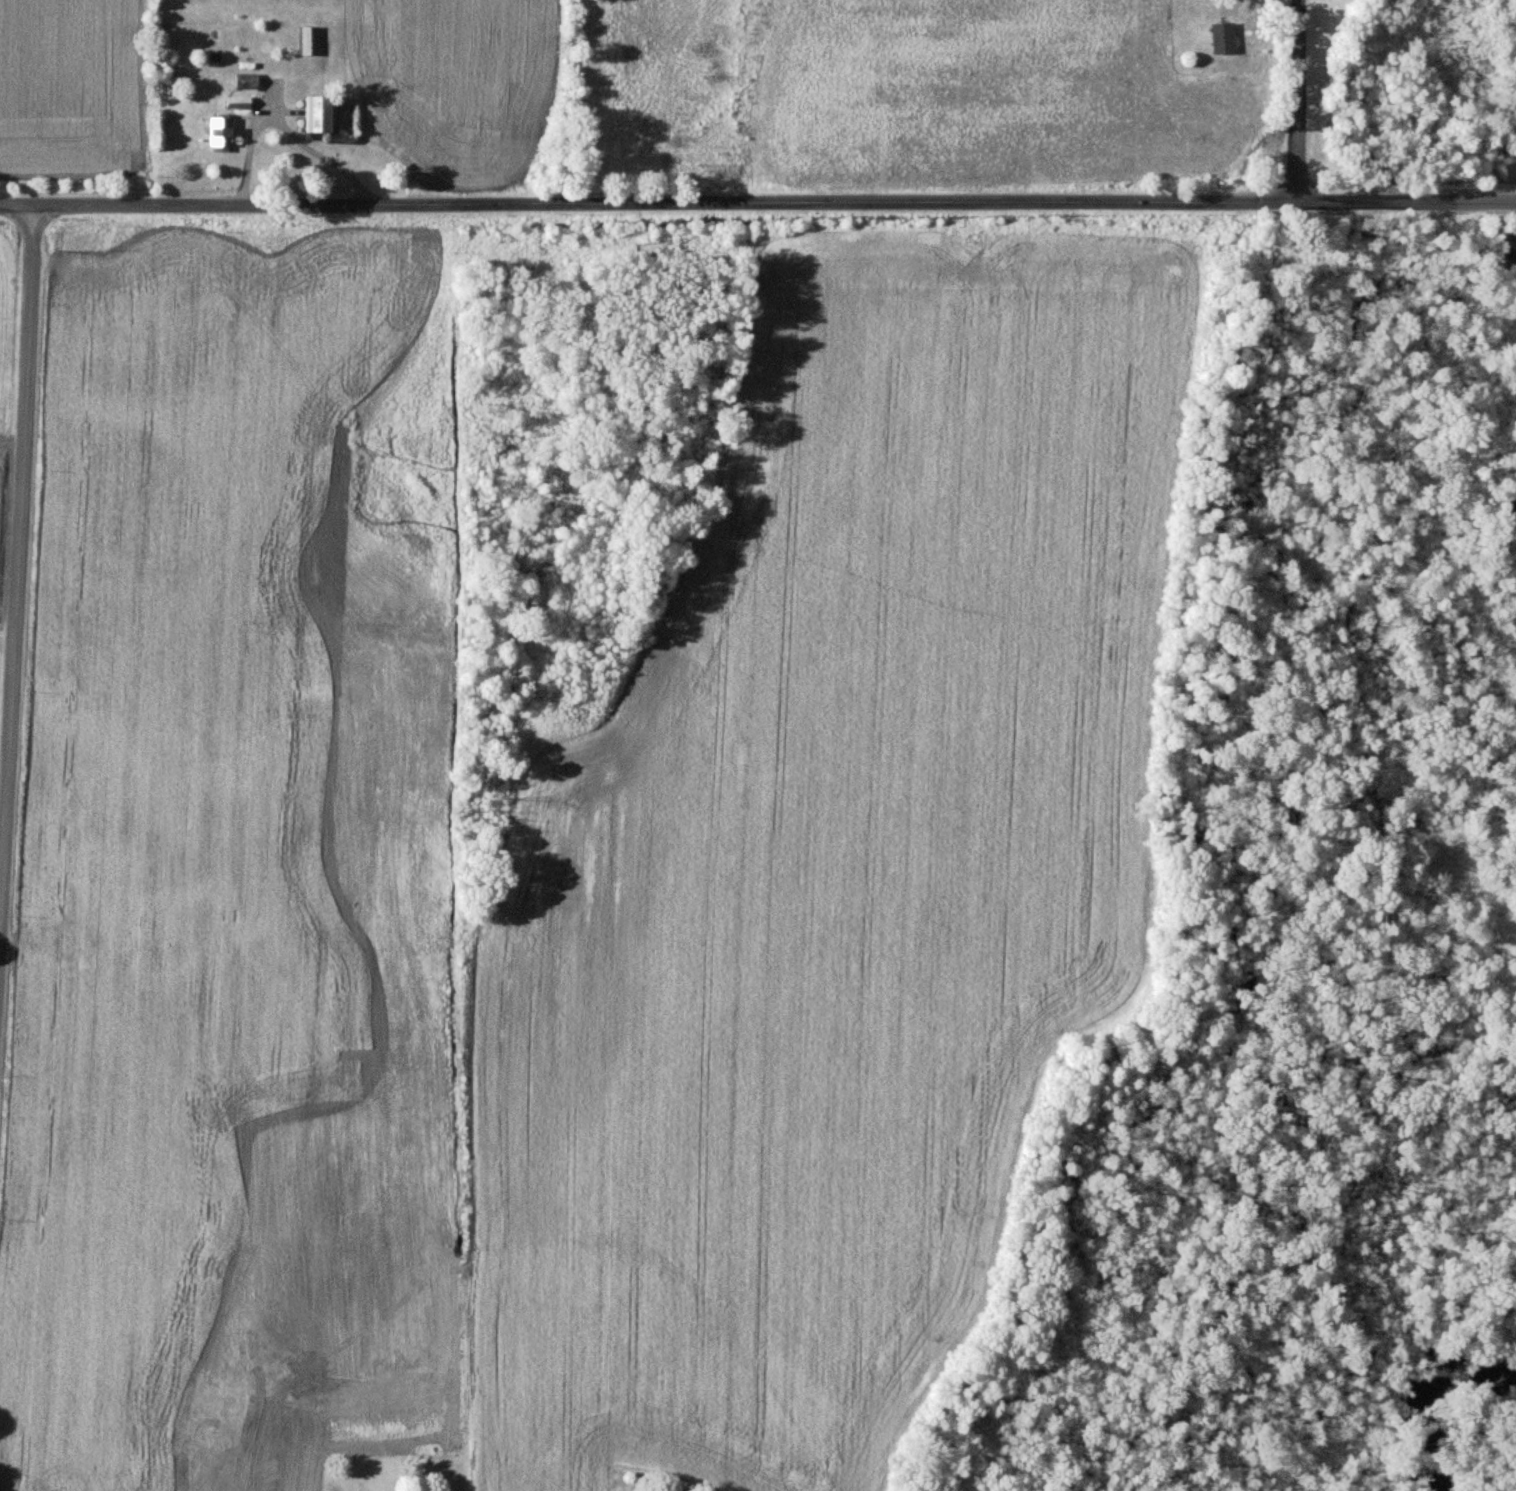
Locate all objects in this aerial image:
building: (1221, 38)
building: (308, 40)
road: (1296, 101)
building: (237, 103)
building: (313, 113)
road: (288, 131)
building: (219, 134)
road: (757, 204)
road: (21, 564)
river: (1444, 1412)

